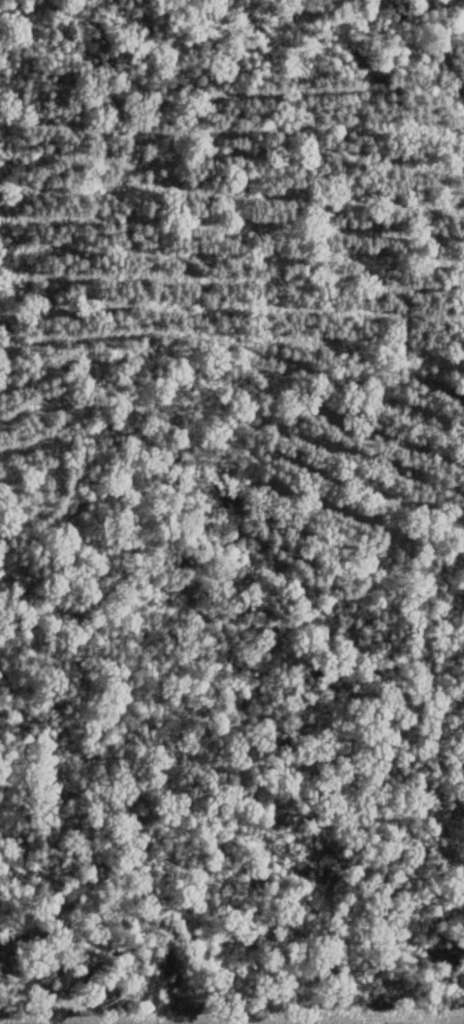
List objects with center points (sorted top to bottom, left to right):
road: (232, 1014)

